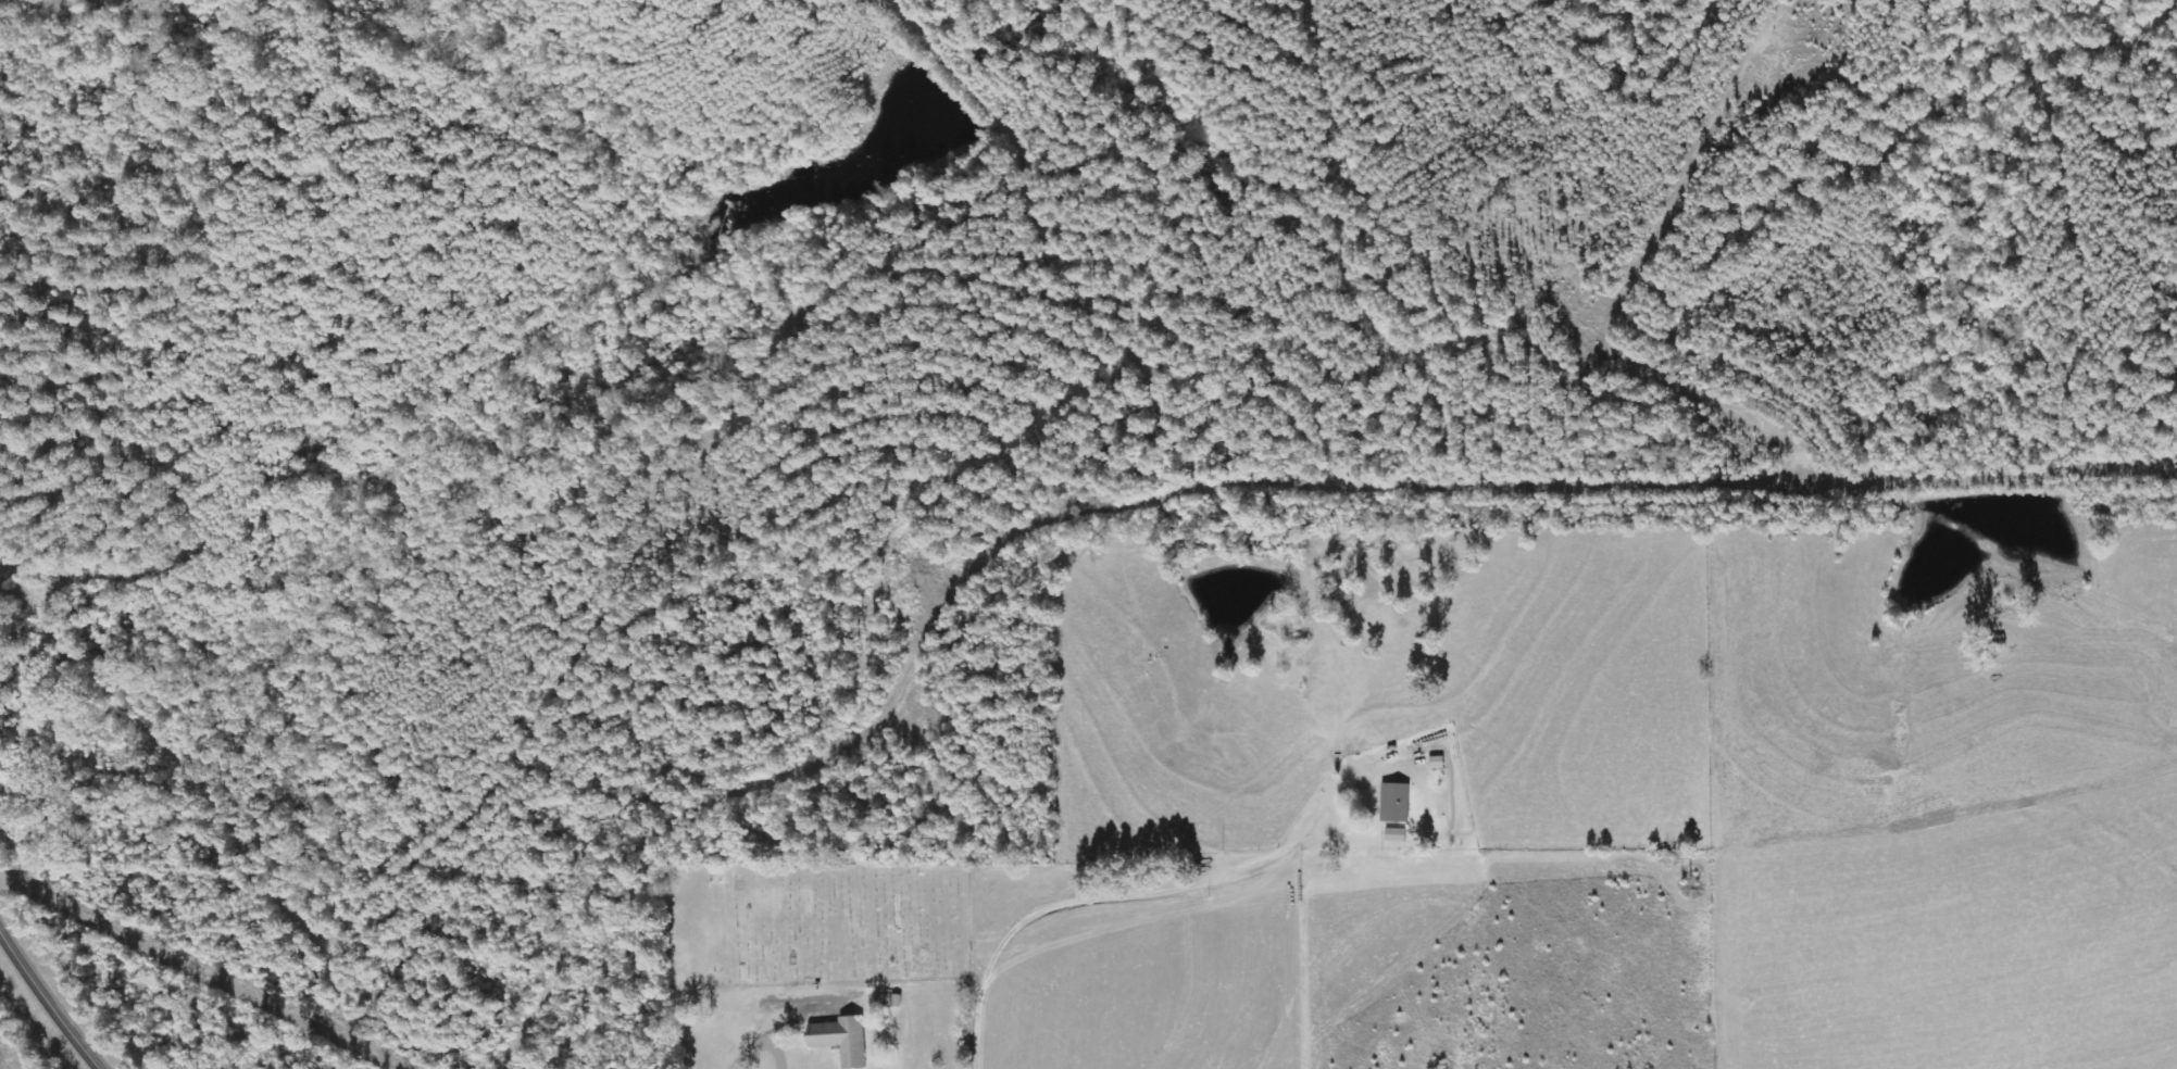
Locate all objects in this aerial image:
building: (1397, 803)
building: (1398, 834)
park: (849, 925)
road: (49, 997)
road: (791, 1029)
building: (843, 1040)

